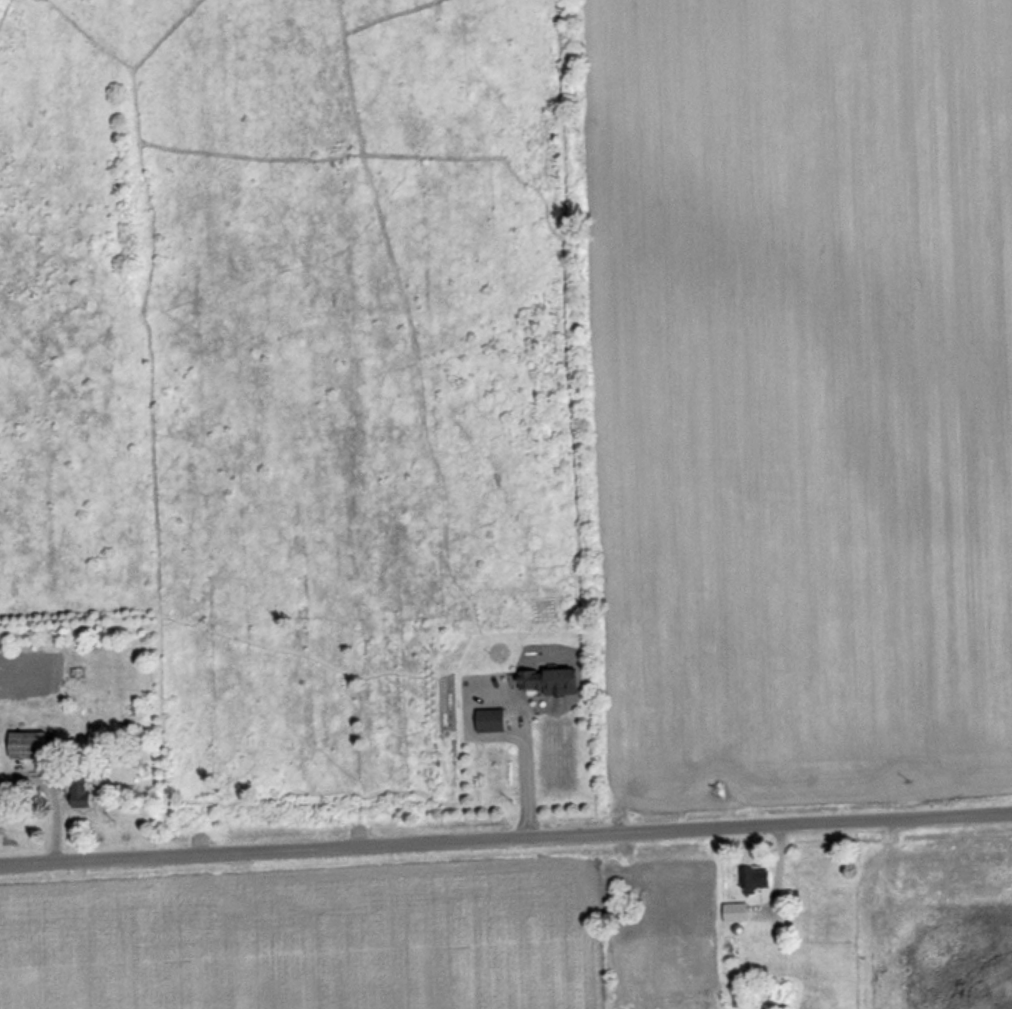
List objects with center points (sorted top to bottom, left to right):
building: (552, 681)
building: (492, 721)
building: (33, 746)
building: (89, 792)
road: (506, 840)
building: (758, 879)
building: (738, 912)
building: (734, 944)

